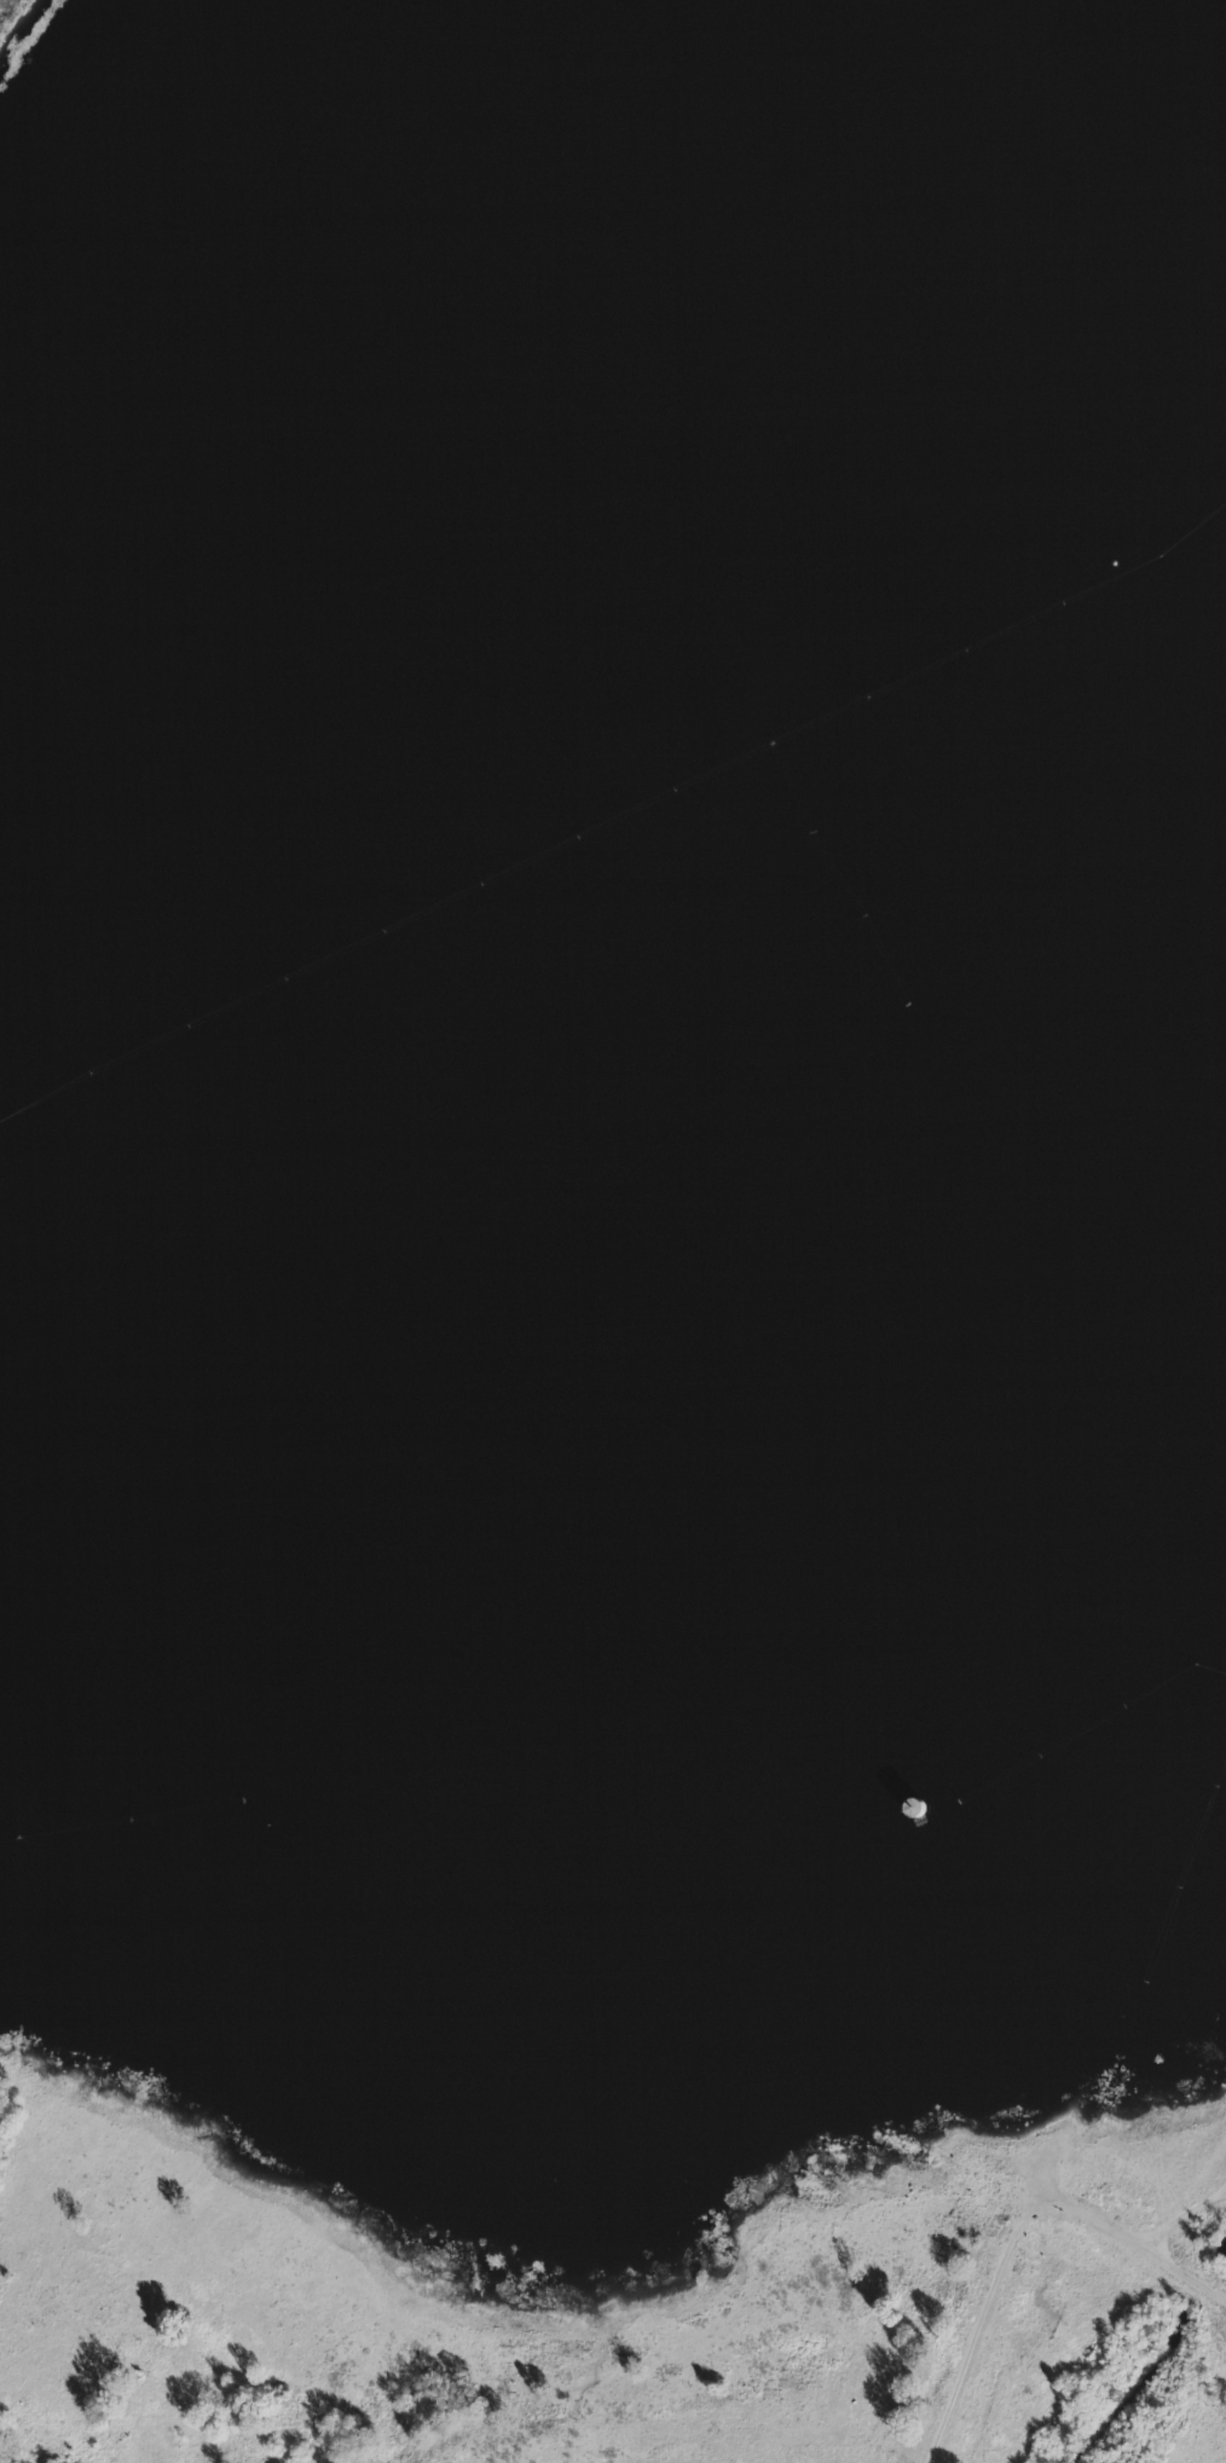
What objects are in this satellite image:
road: (1128, 2260)
road: (966, 2329)

